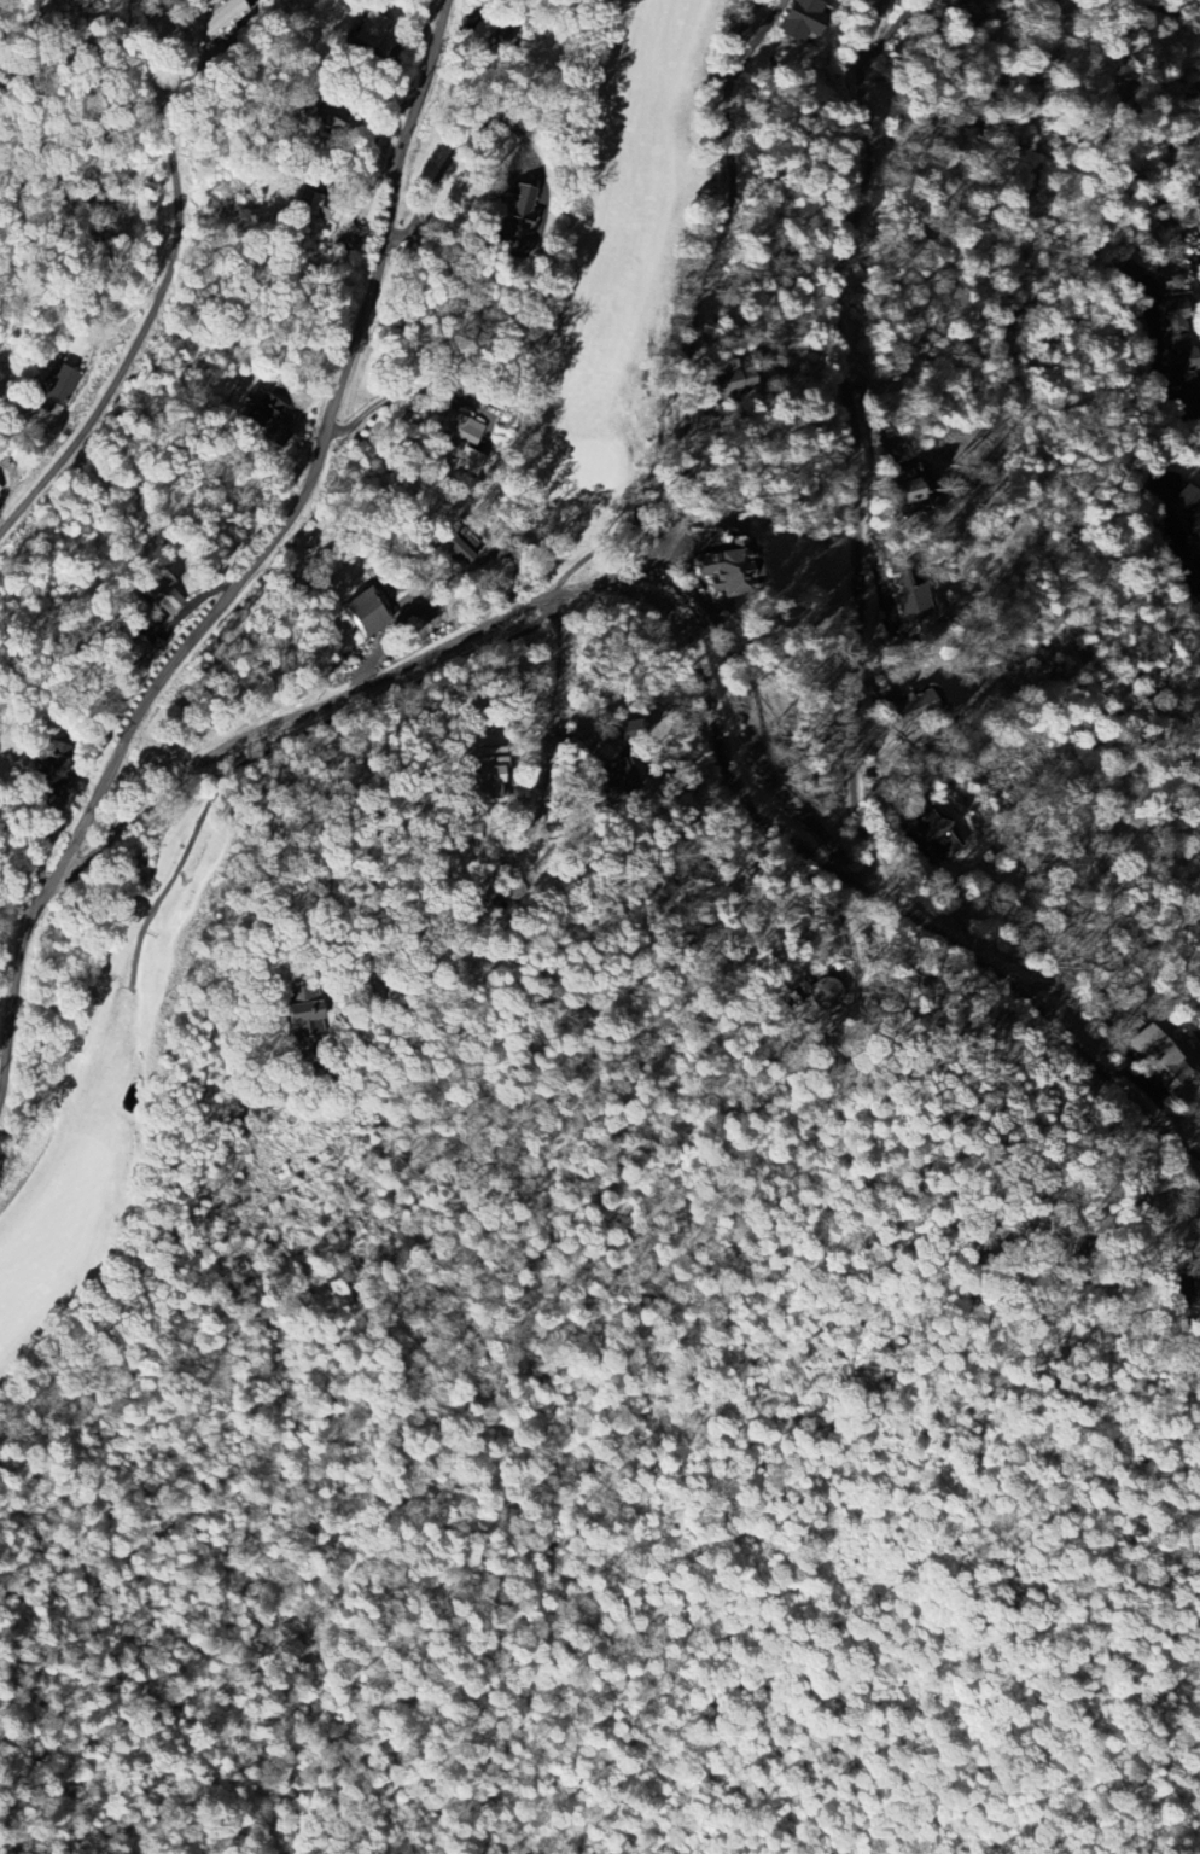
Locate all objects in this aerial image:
building: (951, 1)
building: (796, 17)
building: (368, 29)
building: (506, 212)
road: (689, 310)
road: (150, 316)
building: (1172, 340)
building: (727, 380)
building: (59, 385)
building: (455, 428)
road: (851, 437)
building: (0, 486)
building: (903, 495)
building: (1188, 520)
road: (257, 556)
building: (721, 569)
building: (907, 595)
building: (167, 597)
building: (360, 611)
building: (155, 626)
road: (693, 645)
building: (132, 646)
building: (914, 711)
building: (625, 729)
road: (543, 757)
building: (618, 768)
building: (482, 769)
building: (932, 835)
road: (394, 980)
building: (296, 1018)
building: (1153, 1059)
road: (5, 1132)

